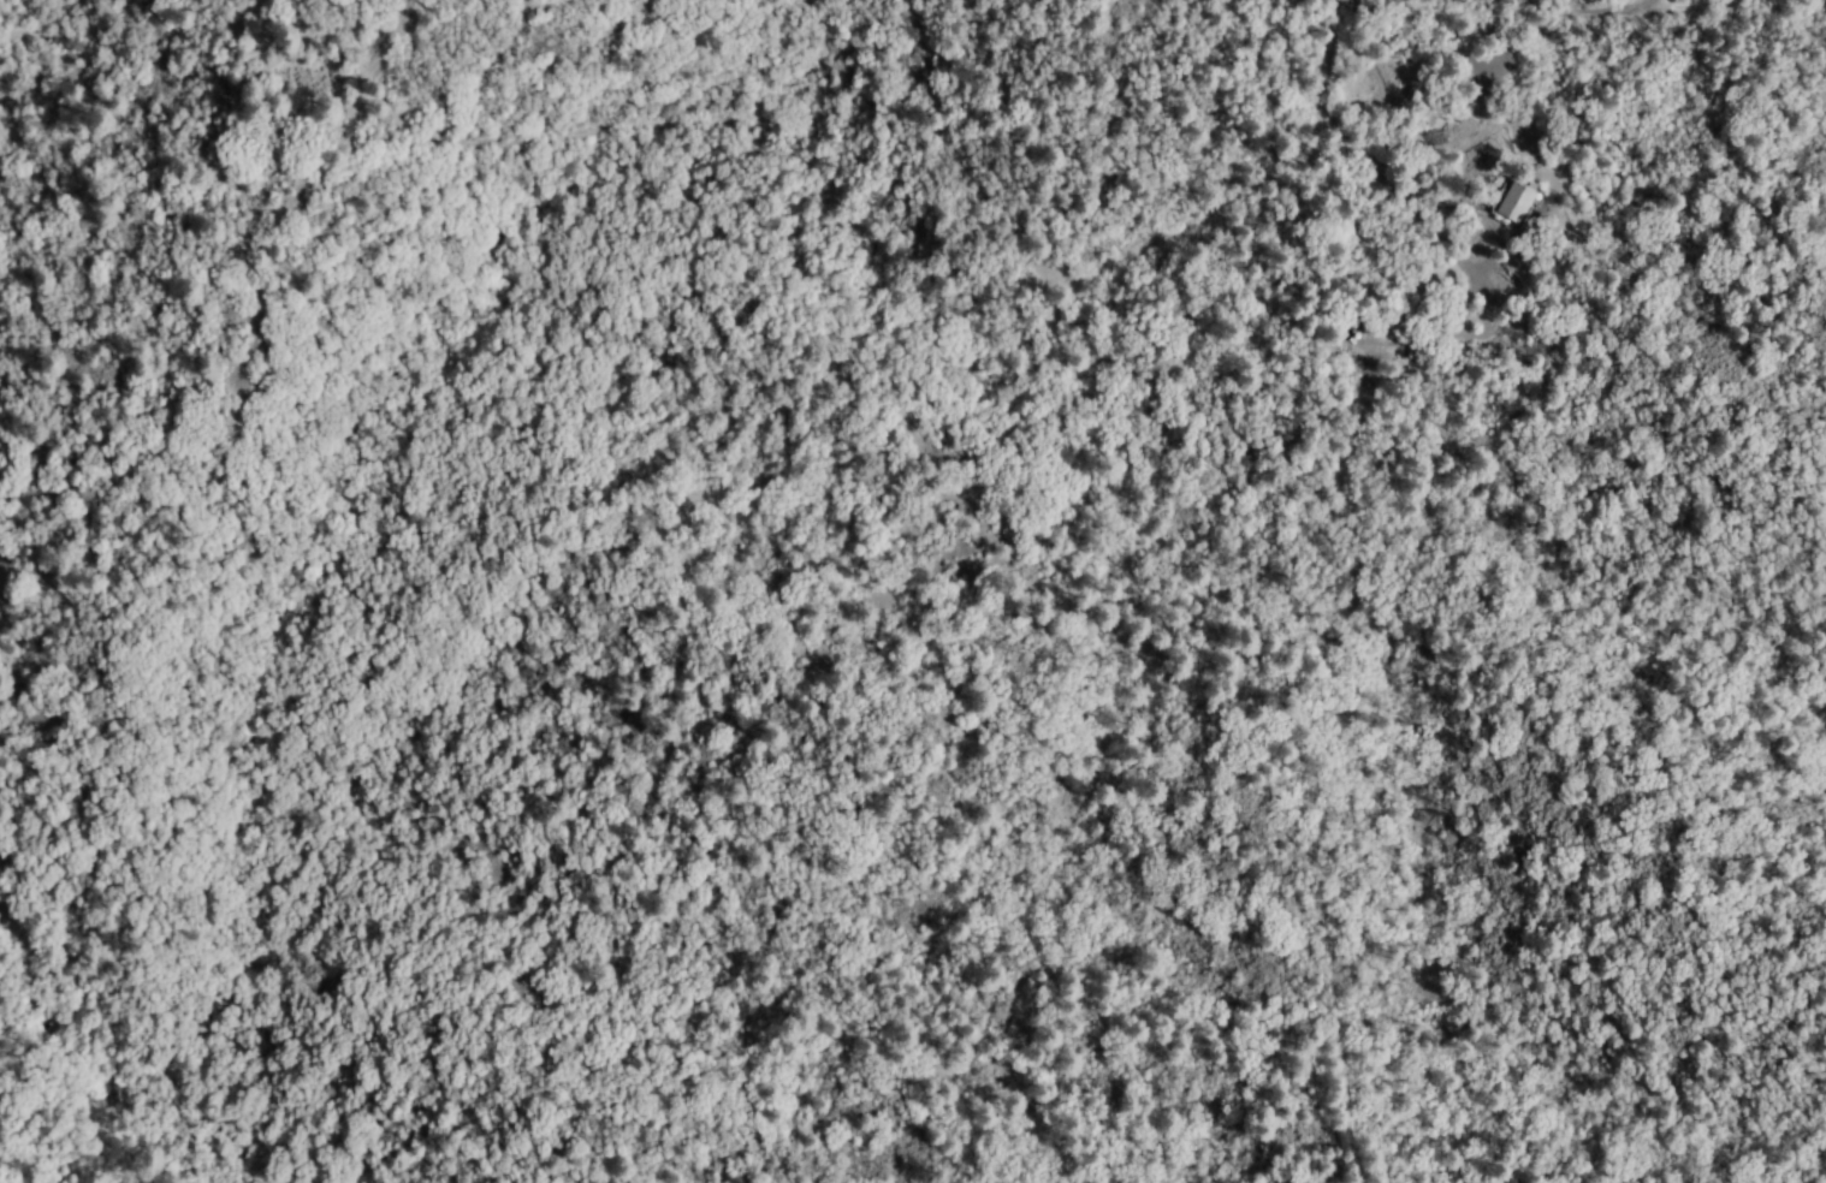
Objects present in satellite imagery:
road: (1636, 14)
road: (1351, 150)
building: (1510, 203)

